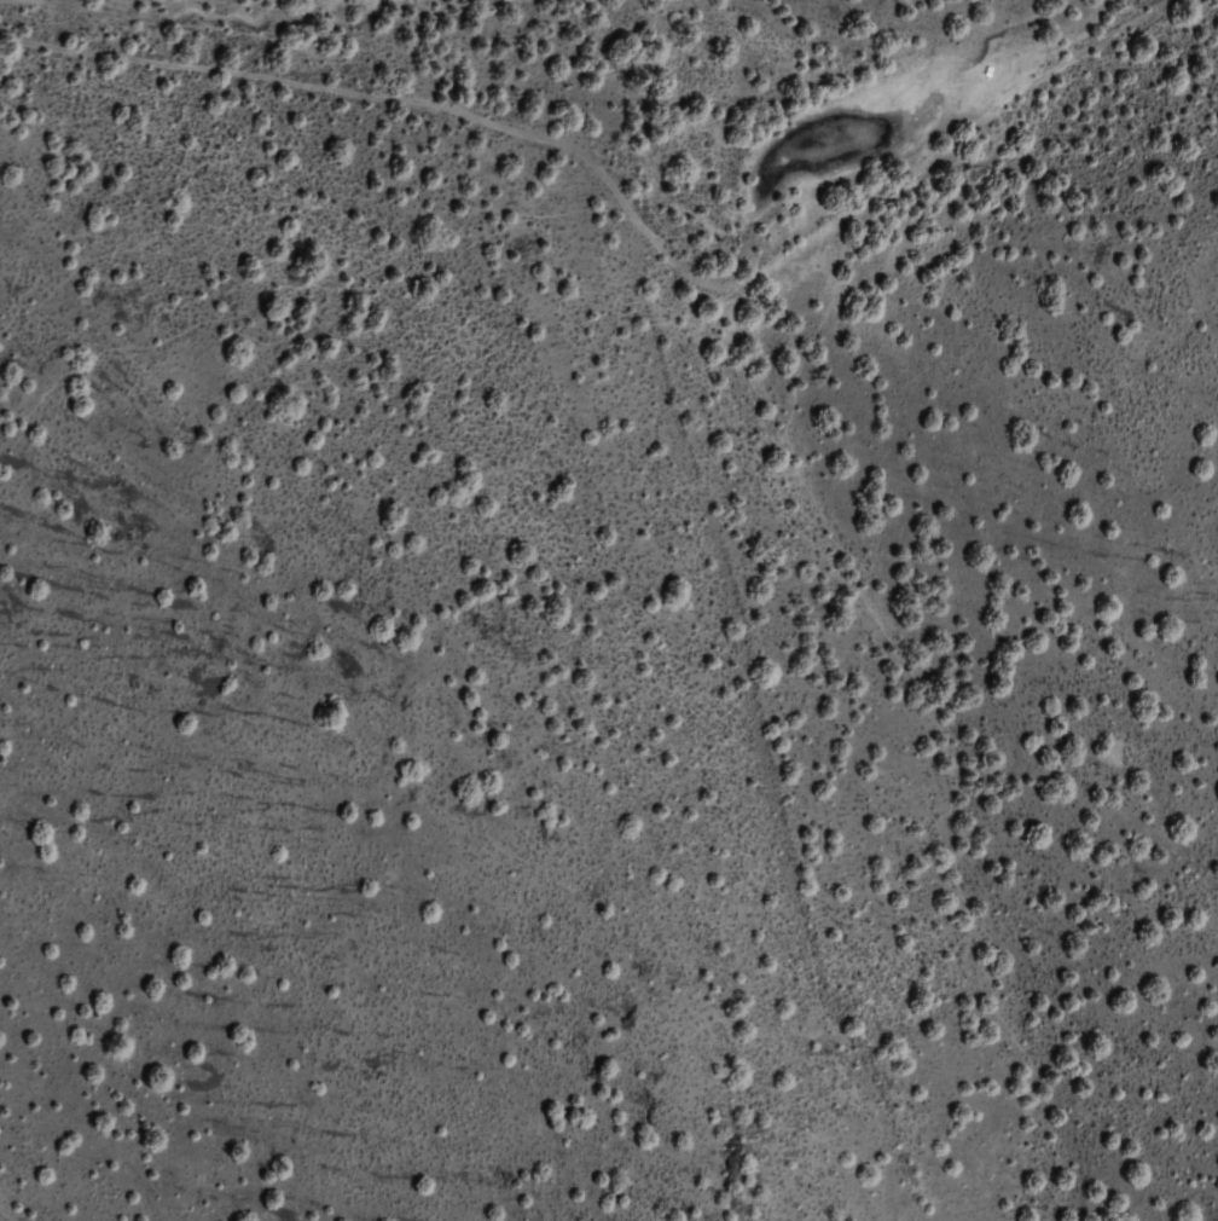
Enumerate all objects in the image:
road: (630, 203)
road: (739, 602)

